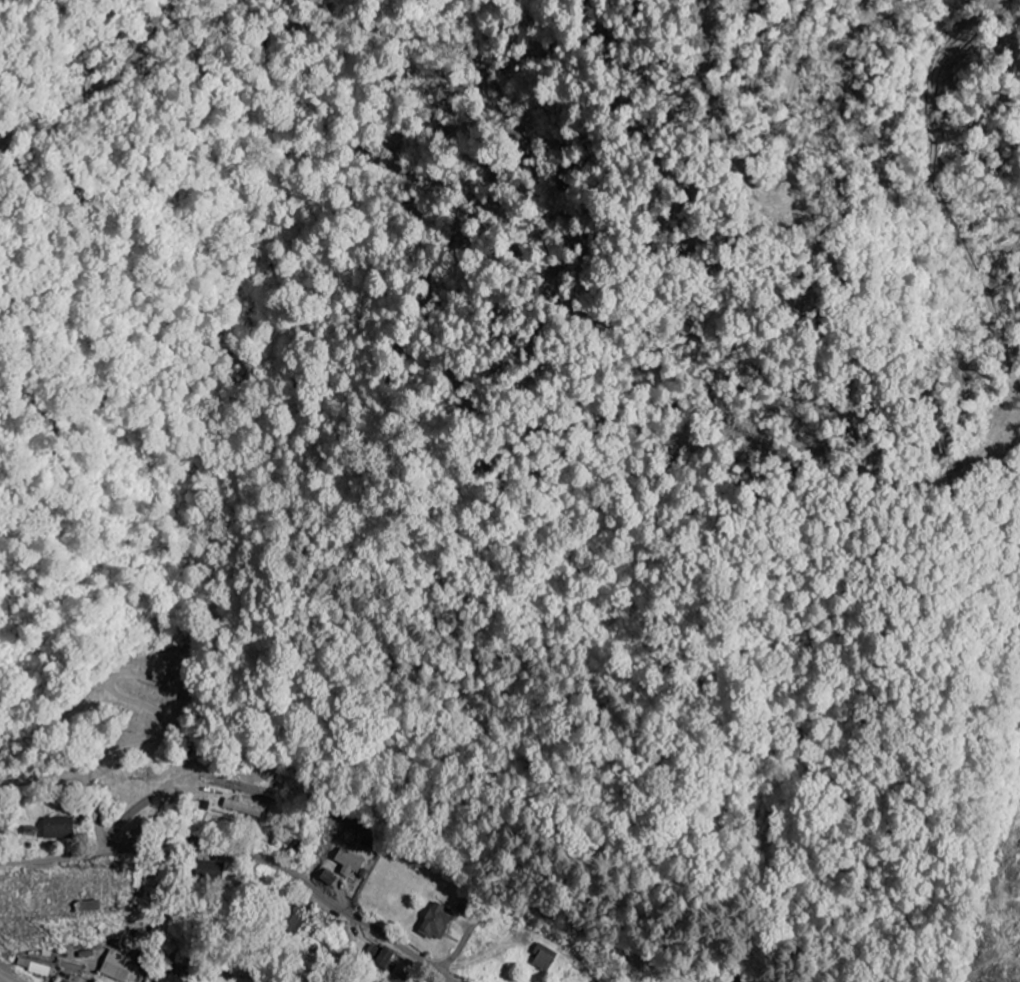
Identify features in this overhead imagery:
building: (167, 670)
road: (78, 778)
building: (244, 807)
building: (60, 827)
road: (245, 848)
building: (349, 863)
building: (211, 870)
building: (328, 879)
building: (438, 921)
road: (563, 922)
building: (383, 957)
building: (545, 957)
building: (117, 966)
building: (169, 979)

